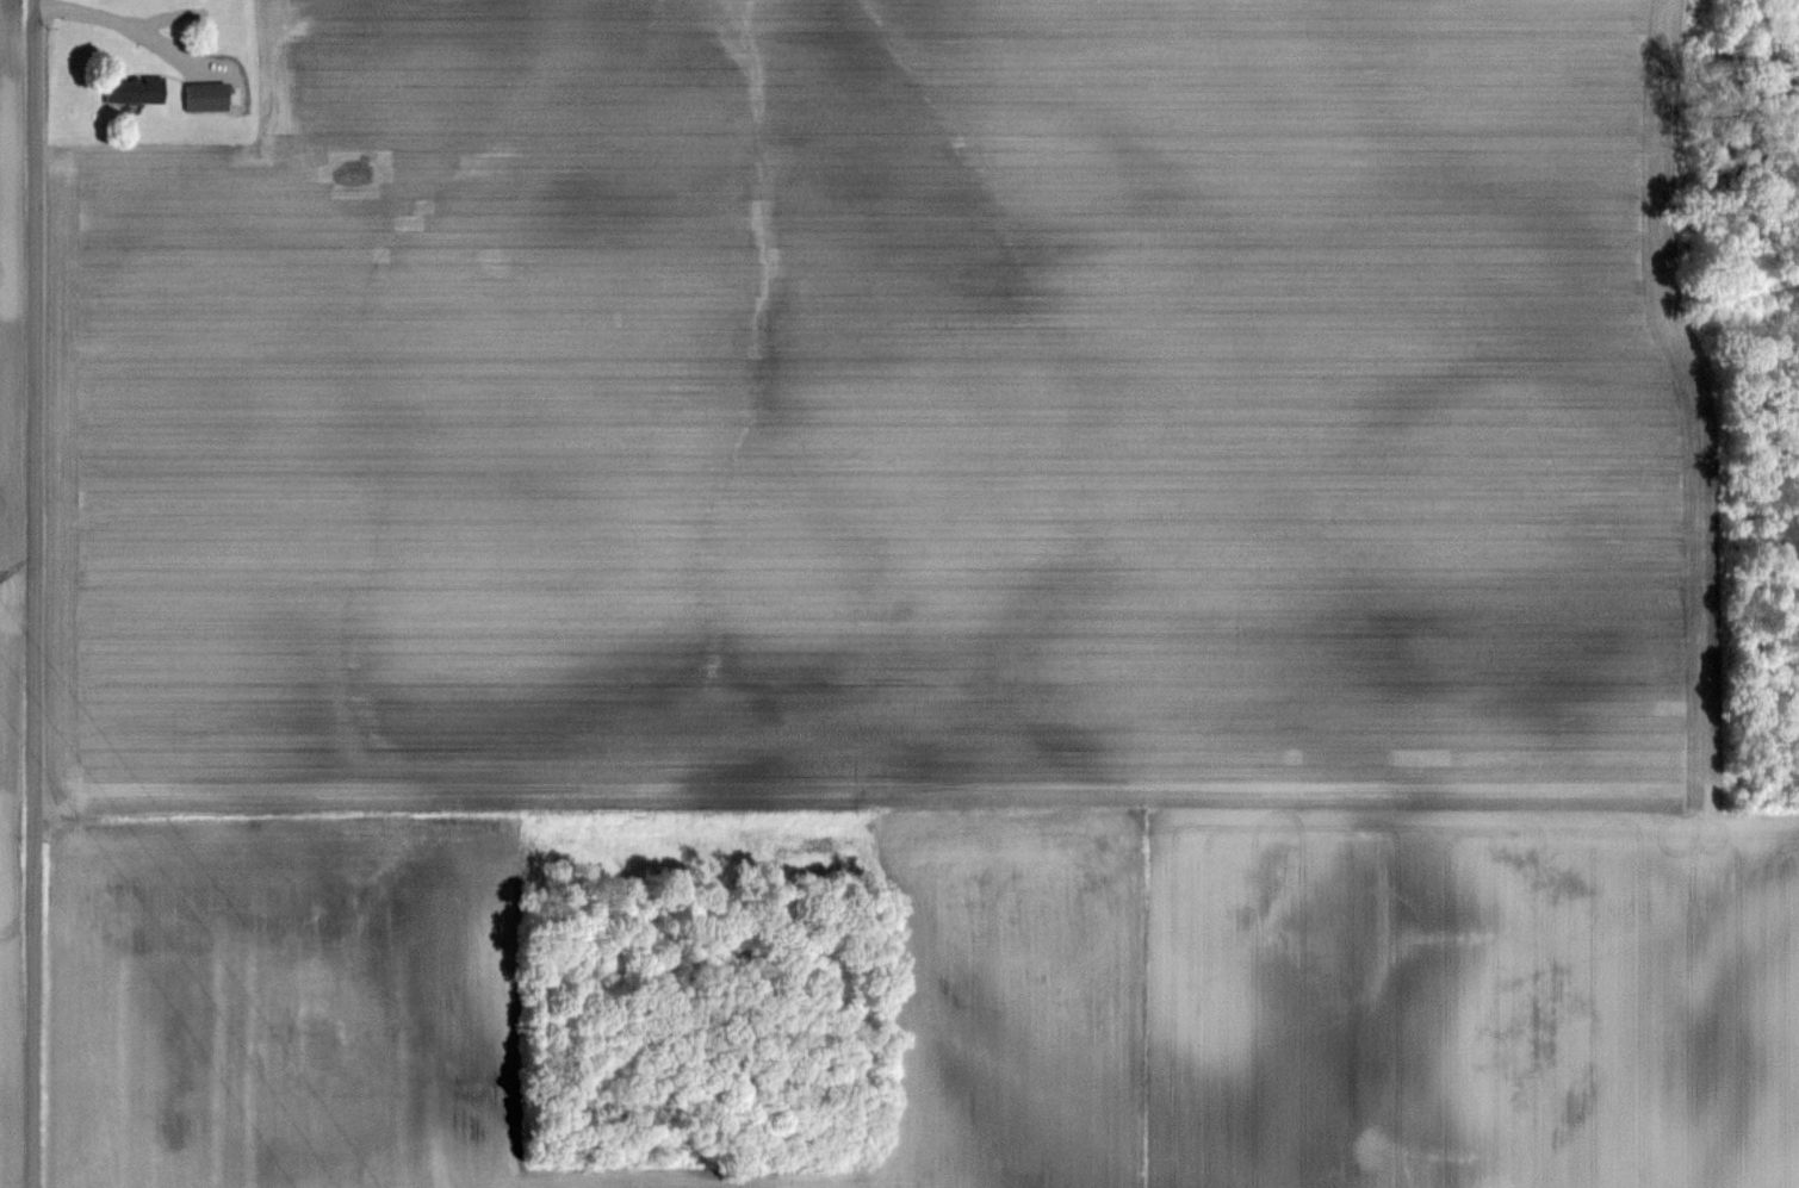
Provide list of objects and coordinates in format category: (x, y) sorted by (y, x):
road: (118, 23)
building: (137, 89)
building: (209, 97)
road: (32, 593)

